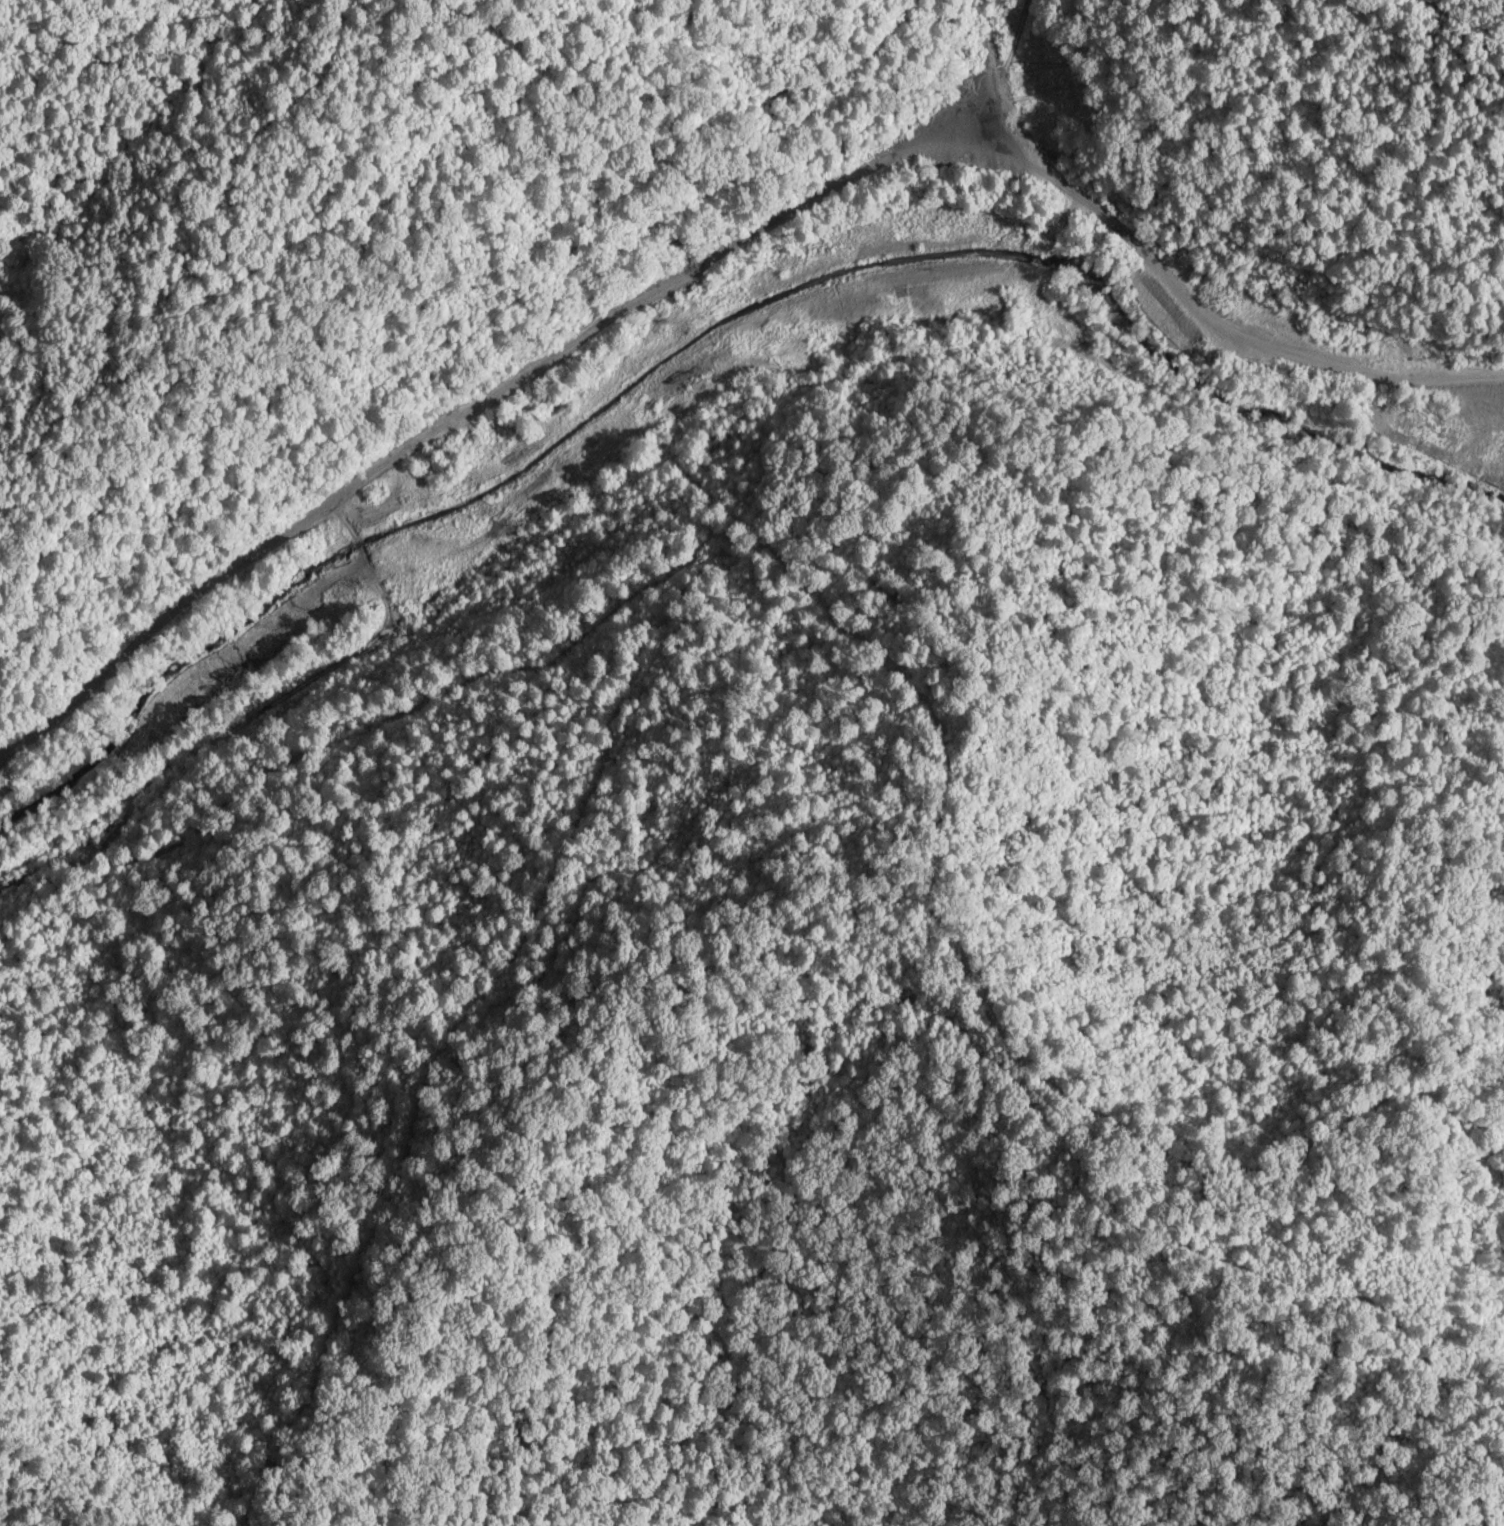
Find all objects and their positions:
road: (725, 197)

